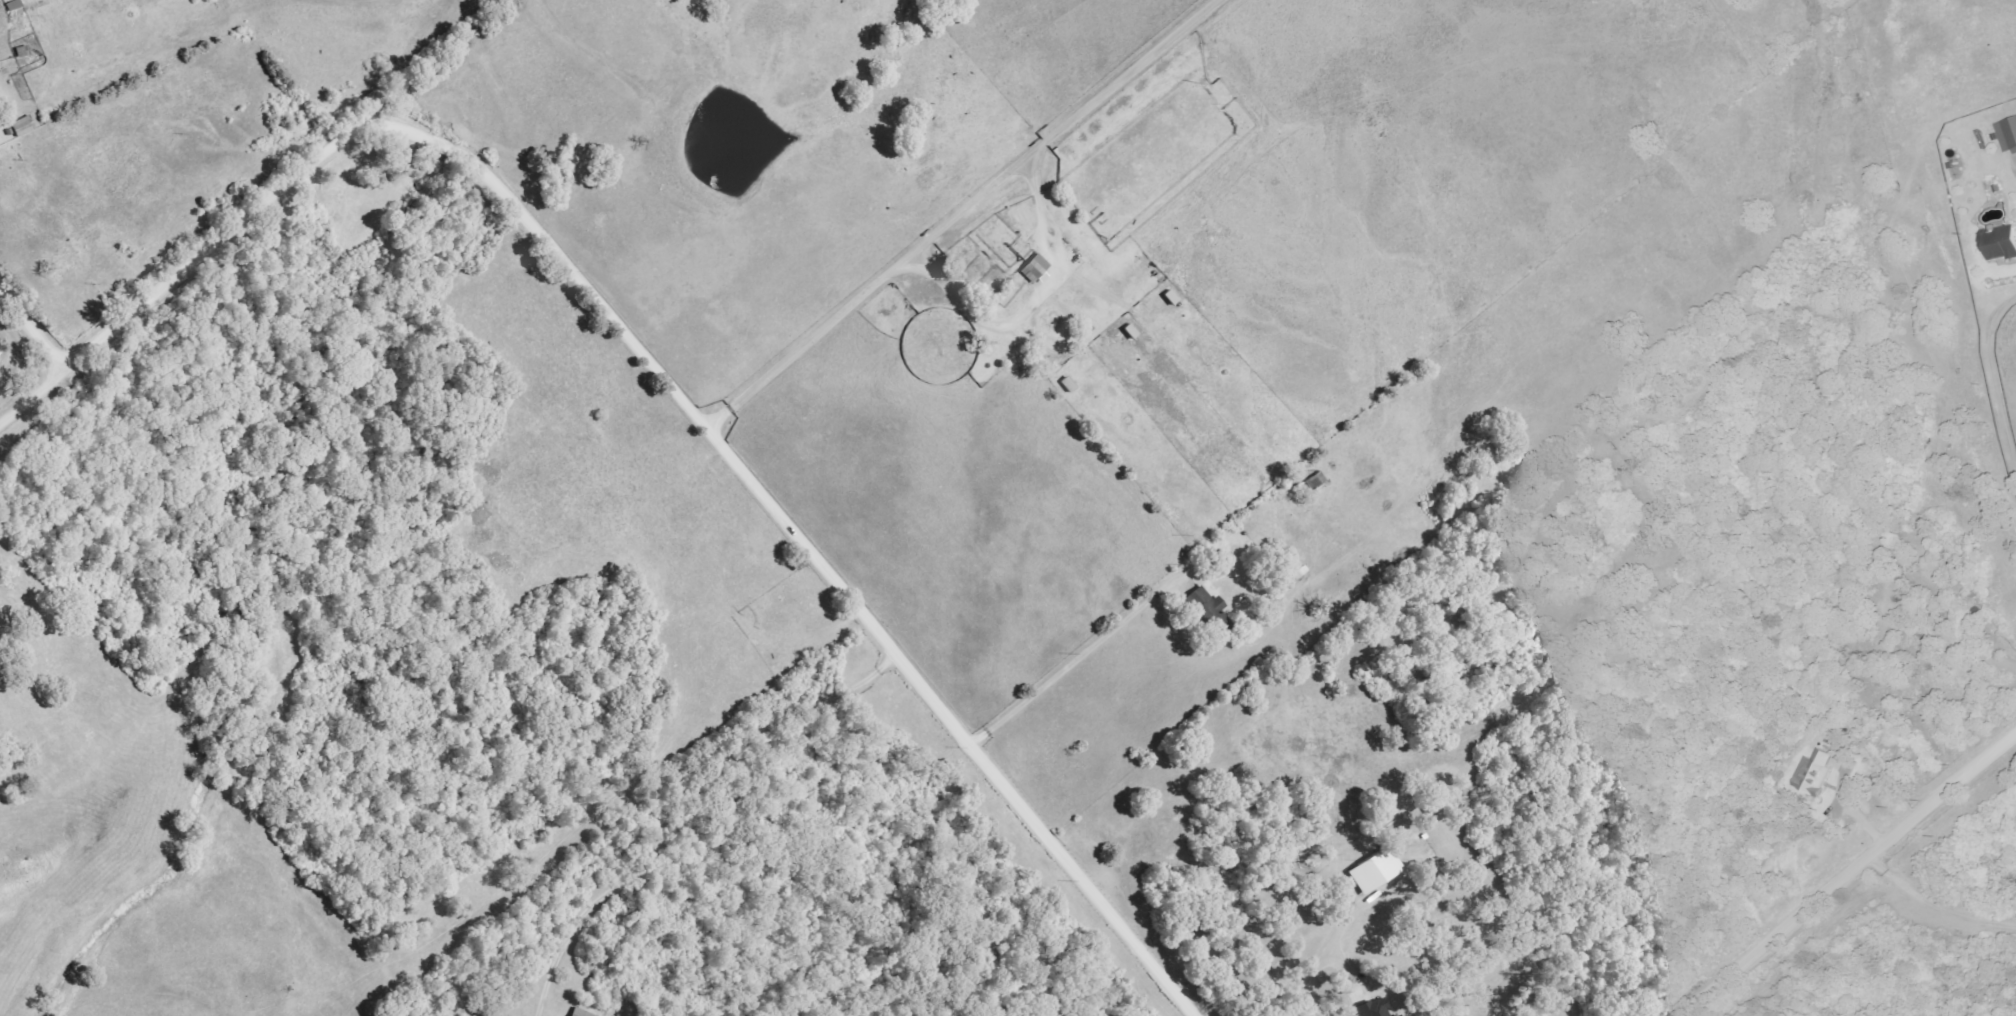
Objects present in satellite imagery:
road: (15, 92)
building: (2006, 133)
building: (1997, 243)
building: (1033, 269)
building: (1167, 298)
road: (850, 310)
road: (35, 324)
road: (2001, 373)
road: (679, 393)
road: (35, 398)
road: (1078, 663)
building: (1810, 774)
road: (699, 817)
building: (1371, 870)
road: (1847, 879)
road: (1939, 904)
building: (579, 1012)

